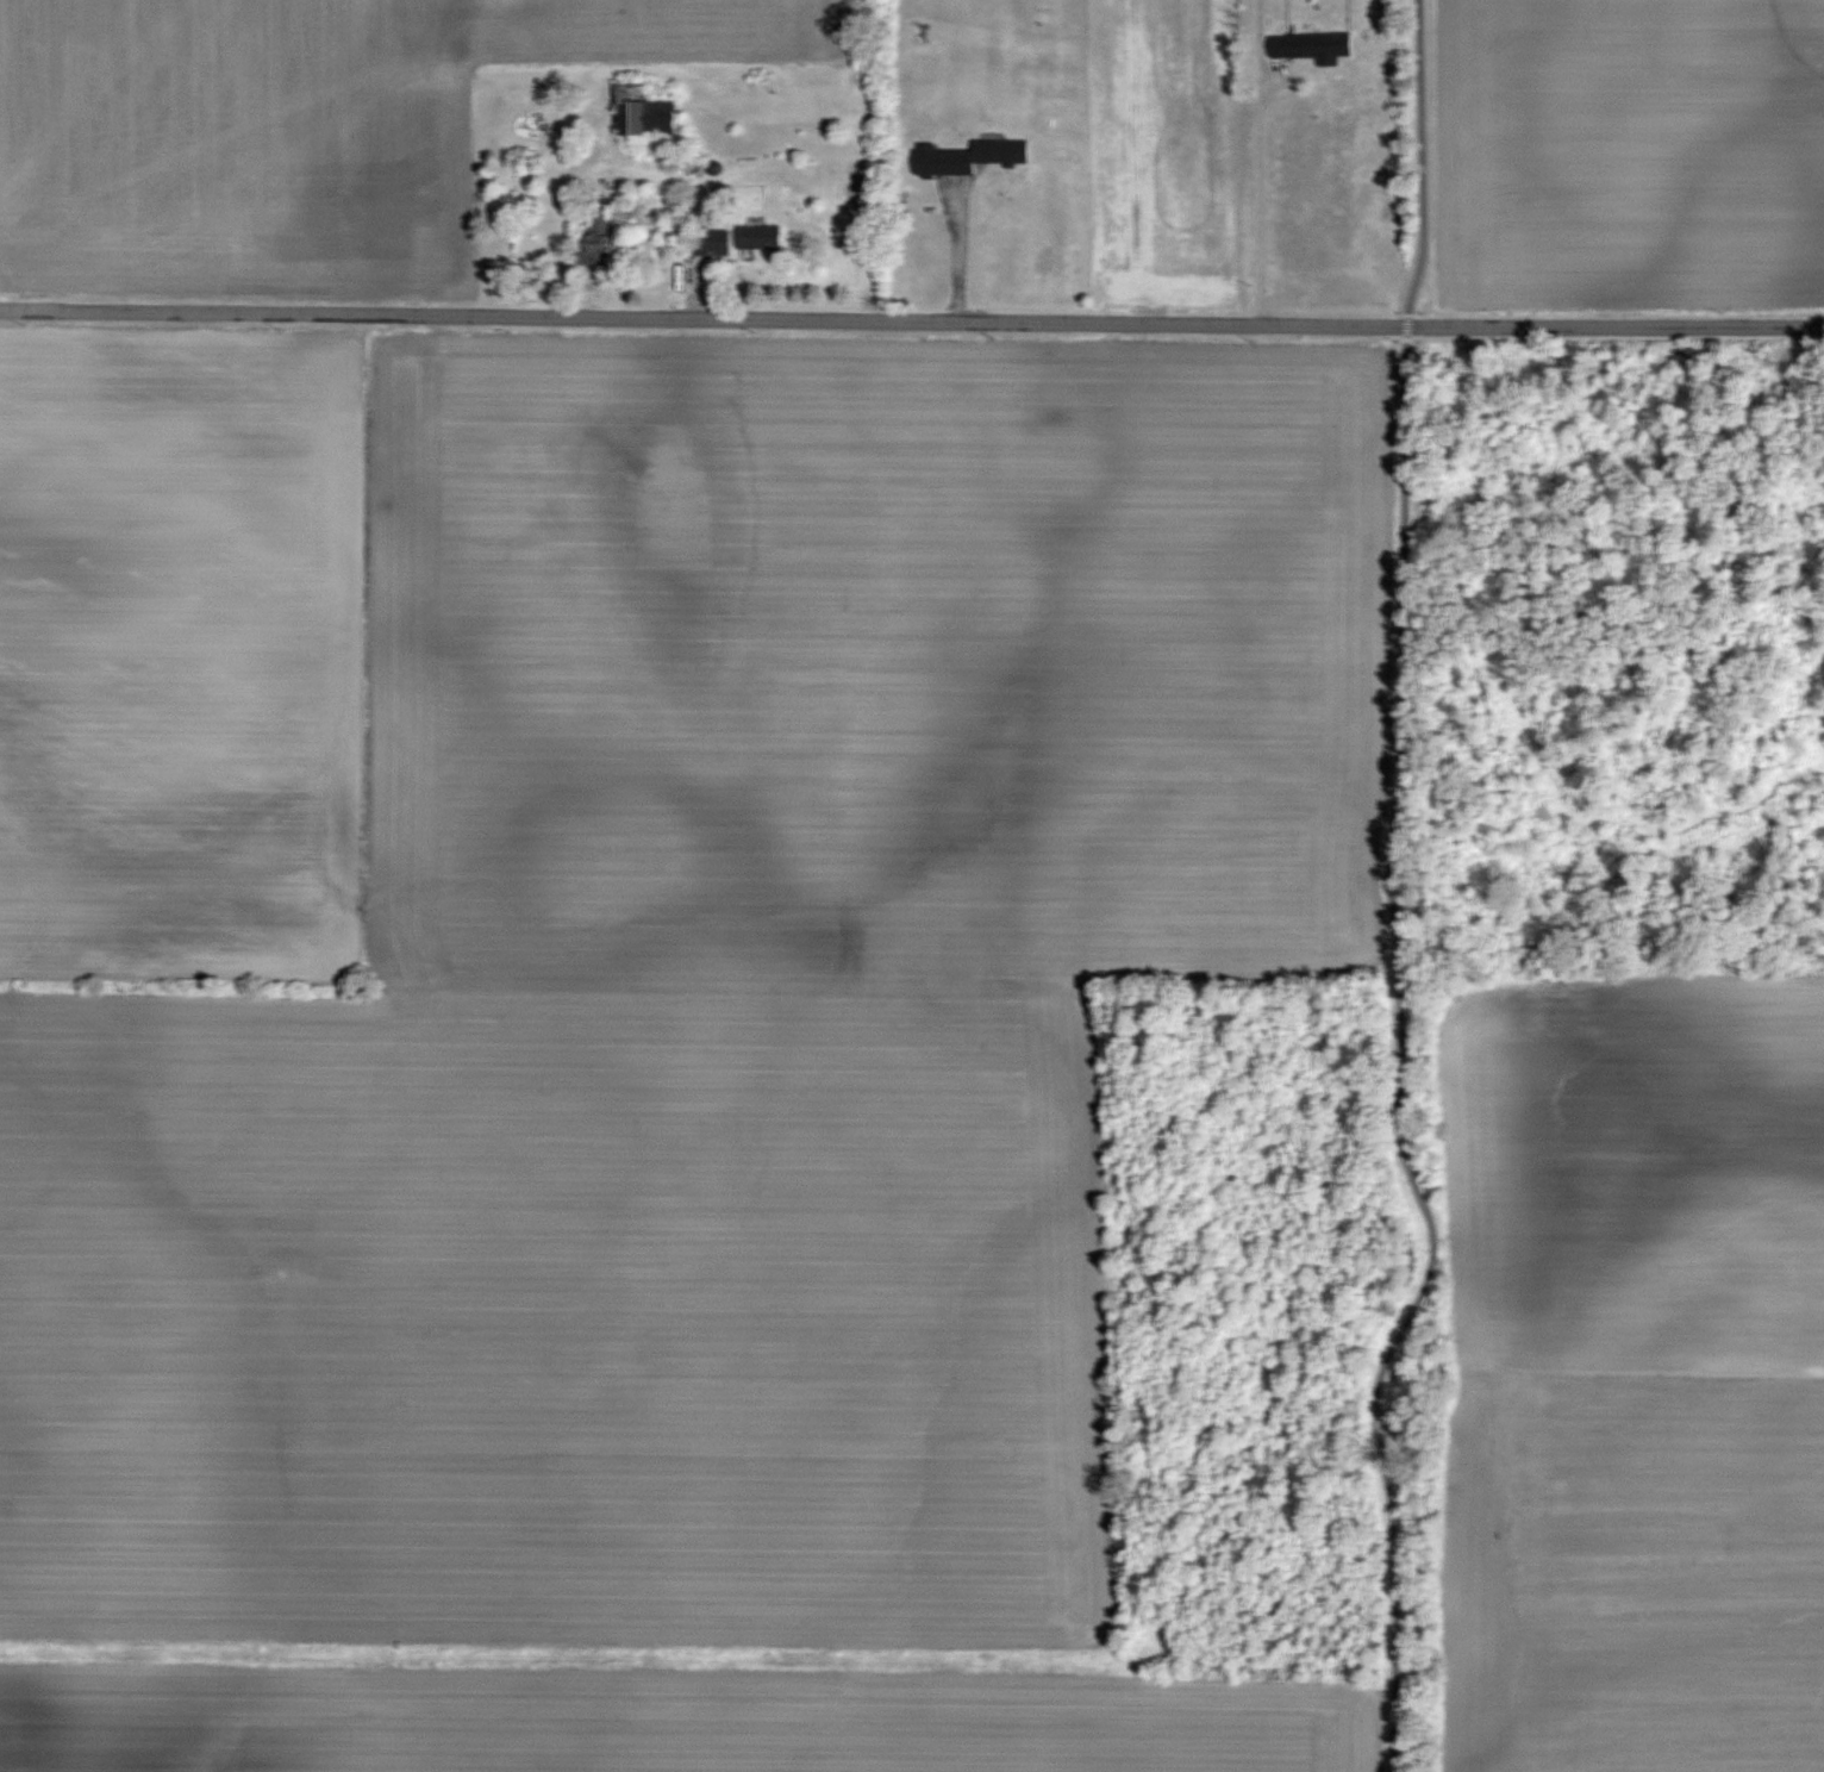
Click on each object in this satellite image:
building: (1313, 45)
building: (646, 112)
road: (1419, 155)
building: (970, 156)
road: (1256, 163)
building: (760, 238)
building: (713, 242)
road: (958, 254)
road: (911, 323)
road: (1404, 323)
road: (1399, 1063)

